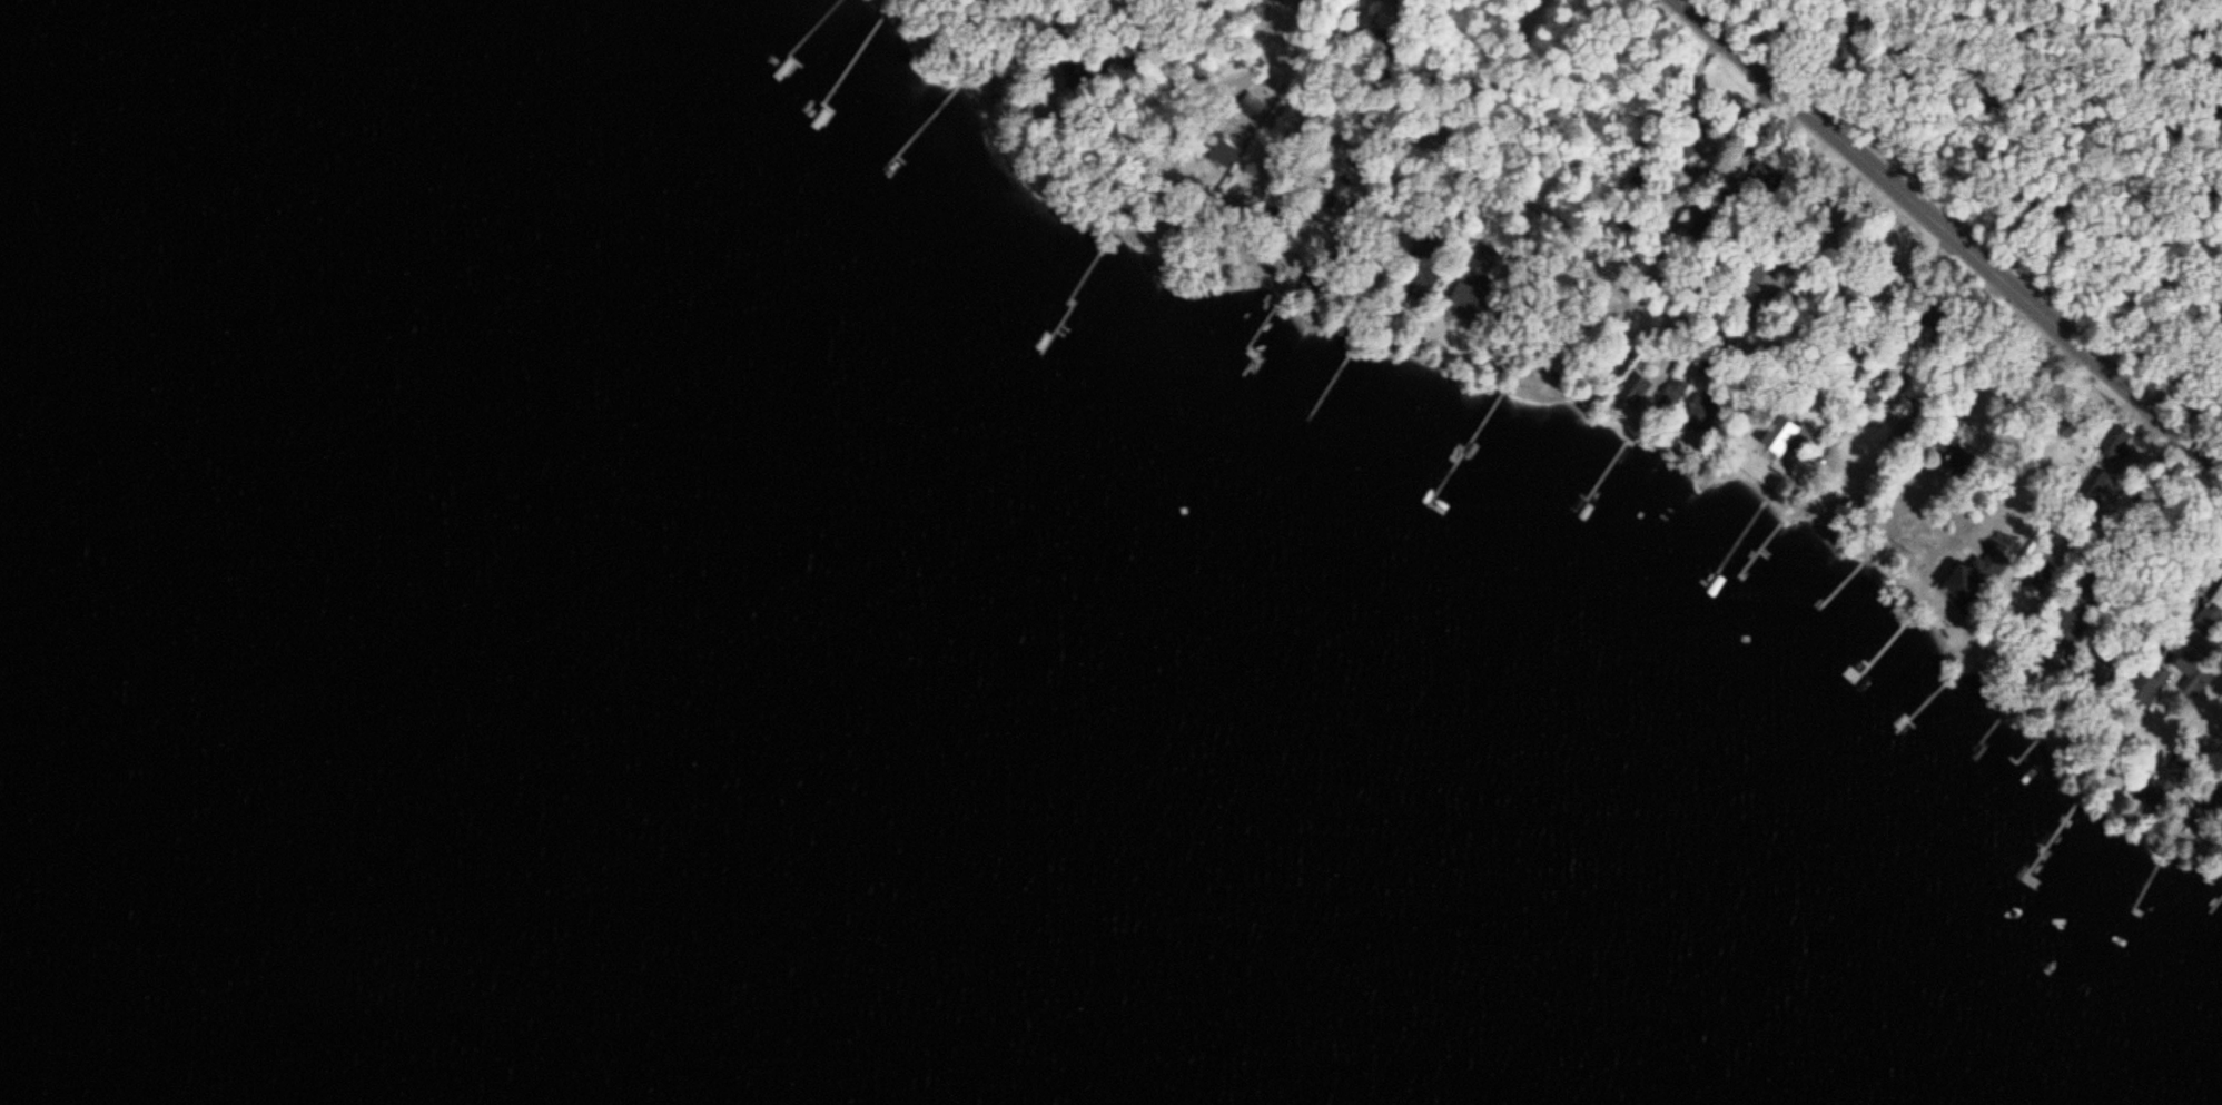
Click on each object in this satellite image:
road: (1675, 0)
road: (1710, 11)
road: (1787, 33)
road: (1907, 68)
road: (1703, 70)
road: (1480, 72)
road: (1324, 73)
road: (1490, 182)
road: (2146, 197)
road: (1945, 233)
road: (1596, 269)
road: (1888, 309)
road: (1744, 338)
road: (2195, 591)
building: (2218, 599)

